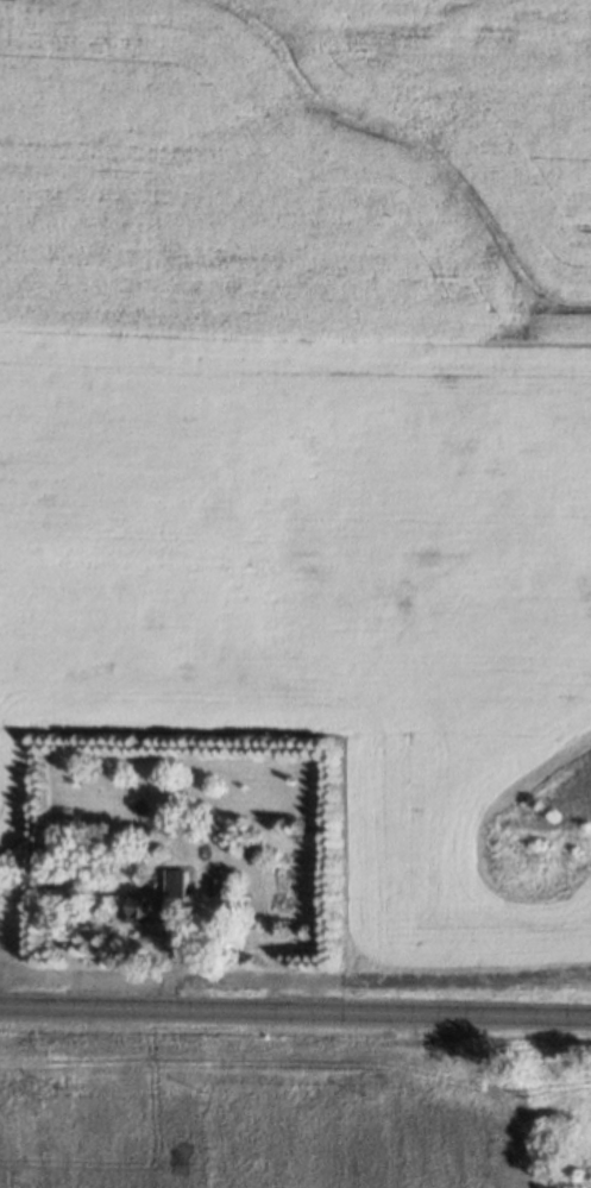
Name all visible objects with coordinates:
building: (215, 886)
building: (142, 906)
road: (295, 1012)

